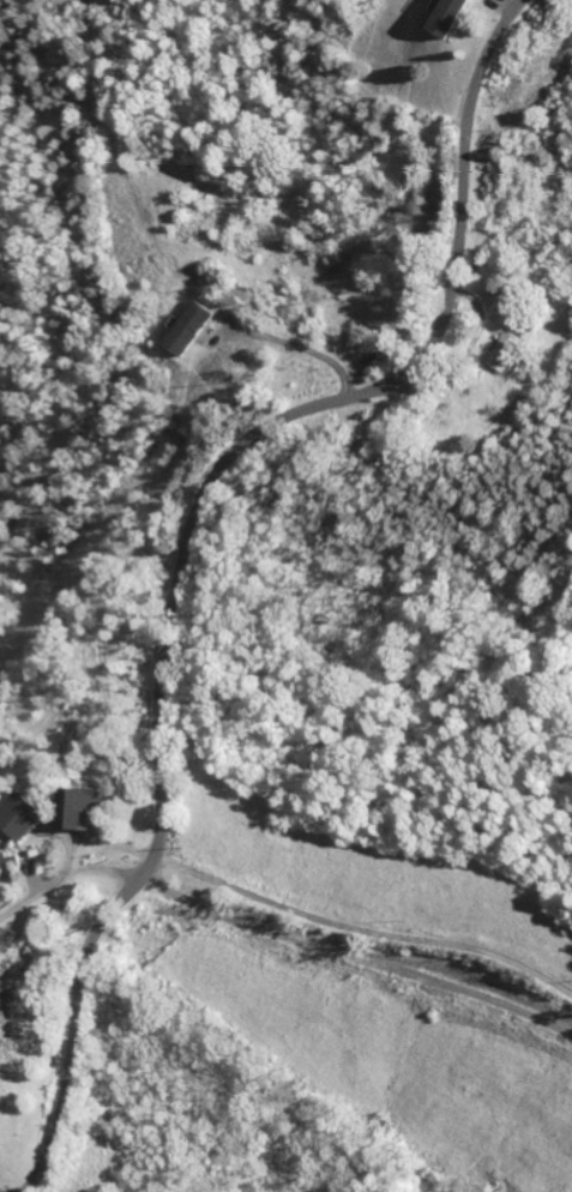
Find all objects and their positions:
building: (450, 17)
building: (192, 329)
road: (302, 348)
building: (511, 353)
road: (193, 540)
building: (85, 808)
building: (24, 817)
building: (13, 862)
road: (68, 878)
road: (357, 959)

